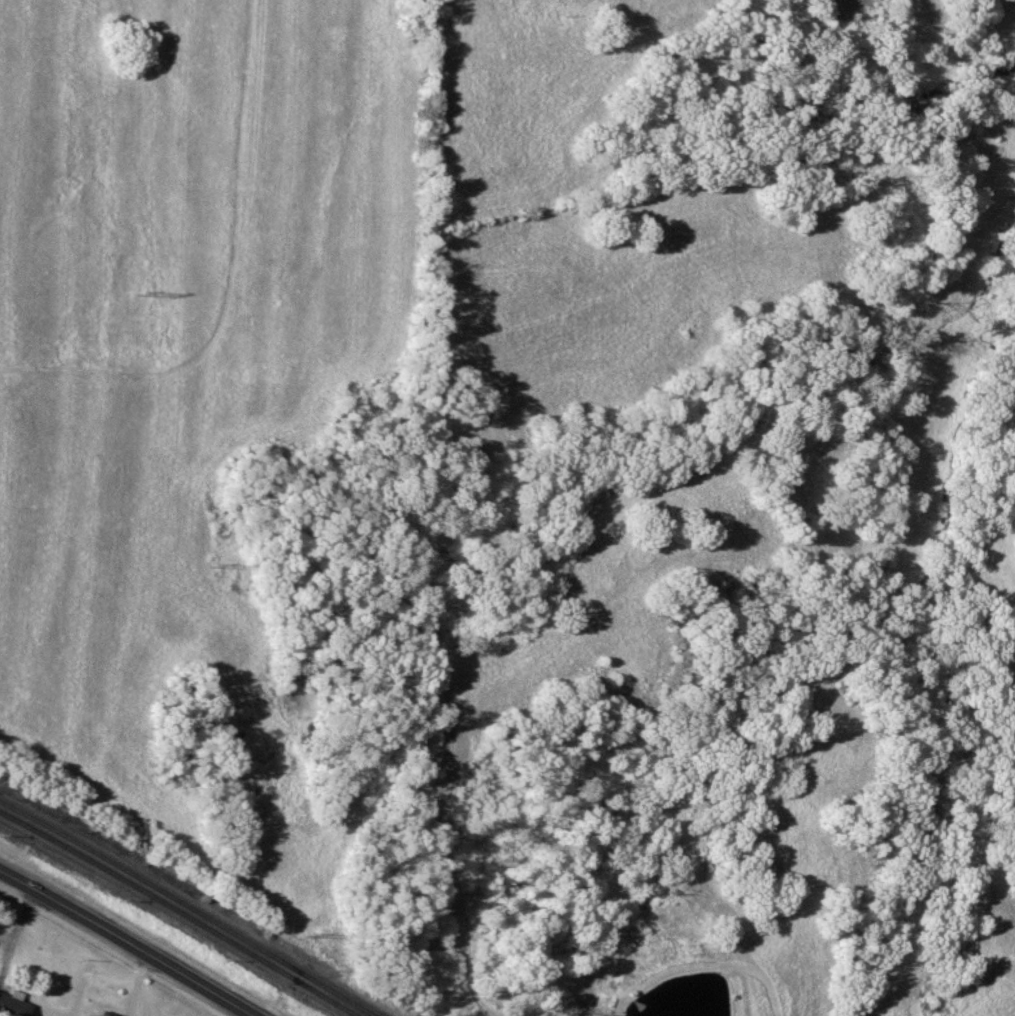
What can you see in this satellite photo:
power tower: (149, 291)
power tower: (224, 565)
railway: (188, 906)
railway: (179, 912)
power tower: (329, 932)
road: (122, 944)

